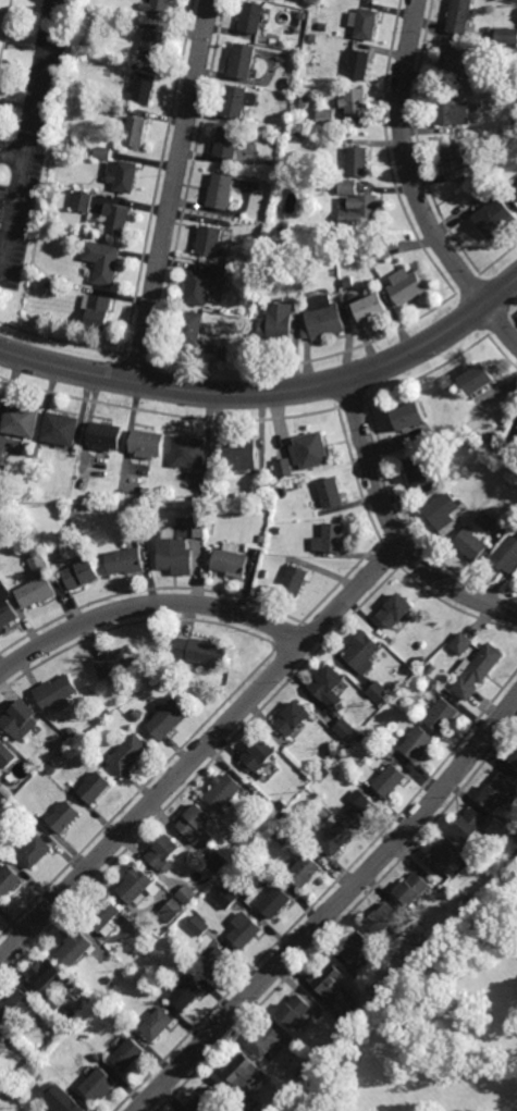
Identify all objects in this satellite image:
building: (516, 0)
building: (159, 9)
building: (460, 16)
building: (254, 17)
building: (366, 24)
building: (5, 28)
building: (506, 36)
building: (153, 46)
building: (245, 60)
building: (452, 60)
building: (360, 65)
building: (145, 88)
building: (236, 101)
building: (356, 103)
building: (452, 111)
building: (325, 119)
building: (136, 133)
road: (28, 134)
building: (230, 143)
parking lot: (30, 144)
road: (13, 148)
building: (103, 152)
building: (358, 161)
building: (456, 162)
building: (124, 176)
road: (413, 185)
building: (348, 187)
road: (174, 192)
building: (223, 192)
building: (83, 201)
building: (364, 210)
building: (496, 218)
building: (120, 220)
building: (214, 243)
building: (104, 262)
road: (0, 268)
building: (408, 287)
building: (200, 288)
building: (373, 308)
building: (98, 312)
building: (325, 319)
building: (281, 322)
building: (193, 328)
building: (480, 380)
road: (270, 393)
building: (411, 418)
building: (22, 421)
building: (62, 428)
building: (451, 435)
building: (106, 436)
building: (147, 444)
building: (311, 450)
building: (38, 452)
building: (189, 453)
building: (242, 455)
building: (285, 468)
building: (420, 471)
building: (3, 472)
building: (450, 477)
building: (263, 483)
building: (81, 484)
building: (296, 485)
building: (331, 493)
building: (132, 510)
building: (443, 514)
building: (487, 520)
road: (393, 528)
building: (278, 530)
building: (331, 539)
building: (262, 540)
building: (470, 543)
building: (181, 546)
building: (507, 555)
building: (126, 561)
building: (231, 561)
building: (39, 563)
building: (83, 572)
building: (266, 573)
building: (295, 581)
building: (37, 591)
road: (147, 604)
building: (7, 607)
building: (395, 610)
building: (460, 644)
building: (199, 653)
building: (364, 653)
building: (118, 664)
building: (431, 669)
building: (476, 671)
building: (330, 688)
building: (58, 692)
building: (379, 693)
building: (399, 698)
building: (441, 716)
building: (137, 717)
building: (165, 719)
building: (294, 719)
building: (21, 720)
building: (346, 730)
building: (73, 733)
building: (361, 739)
building: (67, 741)
building: (2, 744)
building: (417, 744)
building: (390, 750)
building: (33, 752)
road: (200, 752)
building: (329, 754)
building: (130, 755)
building: (259, 757)
building: (514, 763)
building: (0, 764)
building: (50, 768)
building: (327, 773)
building: (391, 780)
building: (96, 788)
building: (10, 790)
building: (225, 790)
building: (497, 793)
building: (282, 802)
building: (361, 806)
building: (63, 815)
building: (285, 815)
building: (195, 822)
building: (470, 828)
building: (285, 832)
building: (333, 837)
building: (35, 849)
building: (165, 851)
building: (446, 856)
building: (218, 861)
building: (303, 866)
building: (209, 878)
building: (8, 880)
building: (139, 885)
building: (416, 888)
building: (187, 893)
building: (225, 893)
building: (275, 900)
building: (469, 900)
road: (333, 909)
building: (172, 910)
building: (106, 915)
building: (386, 917)
building: (199, 925)
building: (245, 929)
building: (445, 929)
building: (76, 947)
building: (359, 948)
building: (216, 962)
building: (49, 974)
building: (109, 979)
building: (393, 980)
building: (167, 987)
building: (335, 991)
building: (187, 992)
building: (17, 1003)
building: (374, 1003)
building: (52, 1004)
building: (295, 1010)
building: (122, 1023)
building: (158, 1023)
building: (354, 1026)
building: (2, 1030)
building: (344, 1034)
building: (266, 1039)
building: (128, 1053)
building: (97, 1057)
building: (47, 1073)
building: (303, 1073)
building: (246, 1076)
building: (99, 1084)
building: (62, 1098)
building: (207, 1100)

